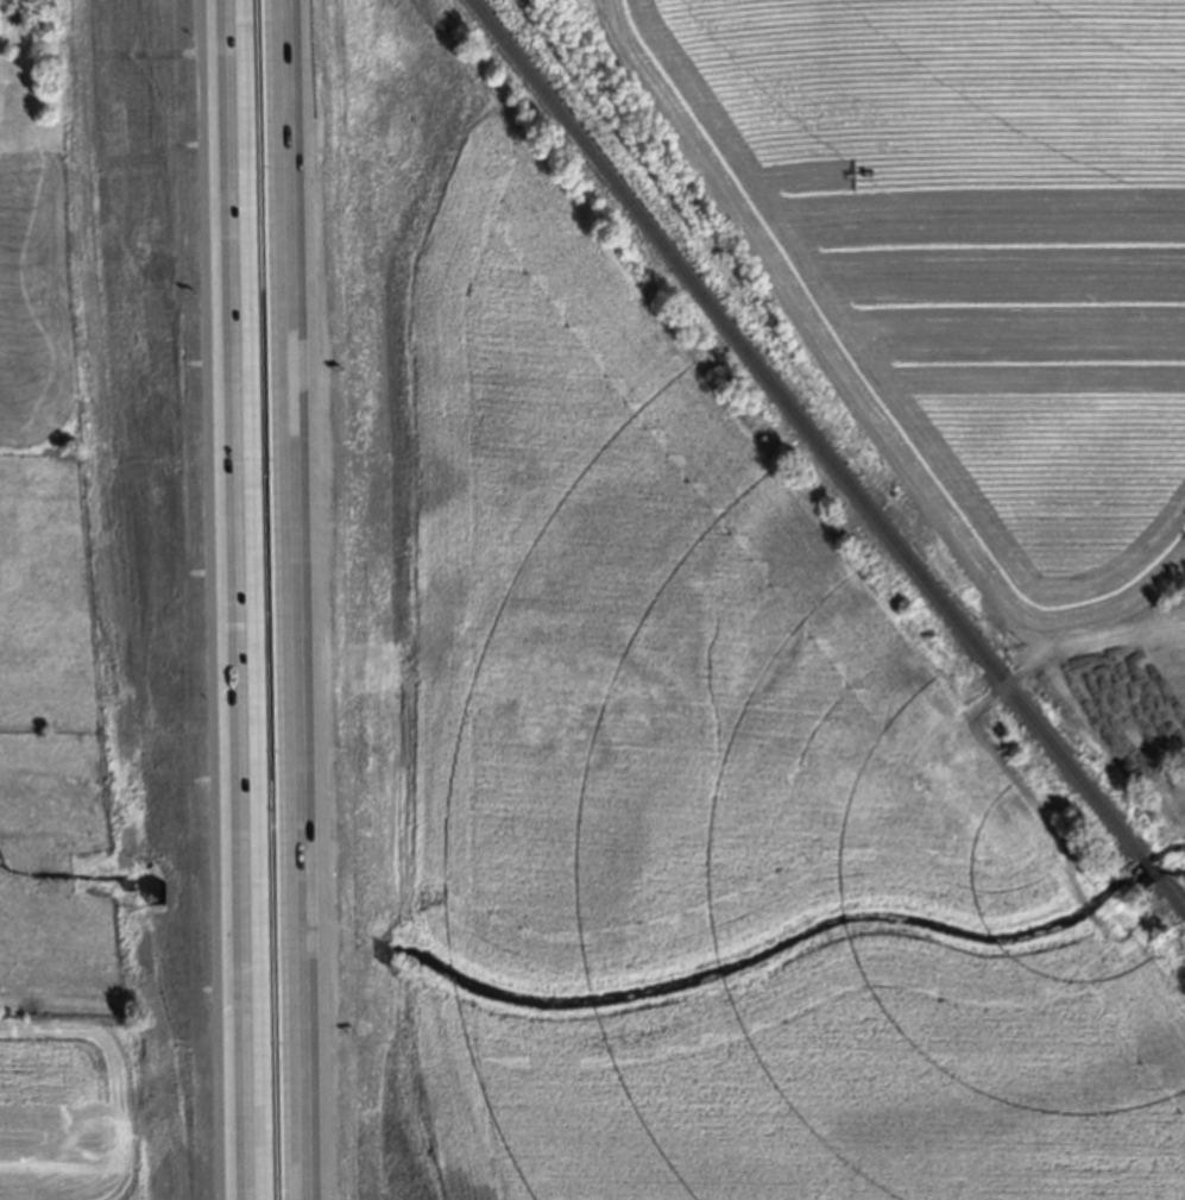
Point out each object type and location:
railway: (808, 428)
road: (245, 599)
road: (300, 599)
road: (1065, 645)
crop: (74, 667)
railway: (1153, 867)
railway: (1173, 893)

